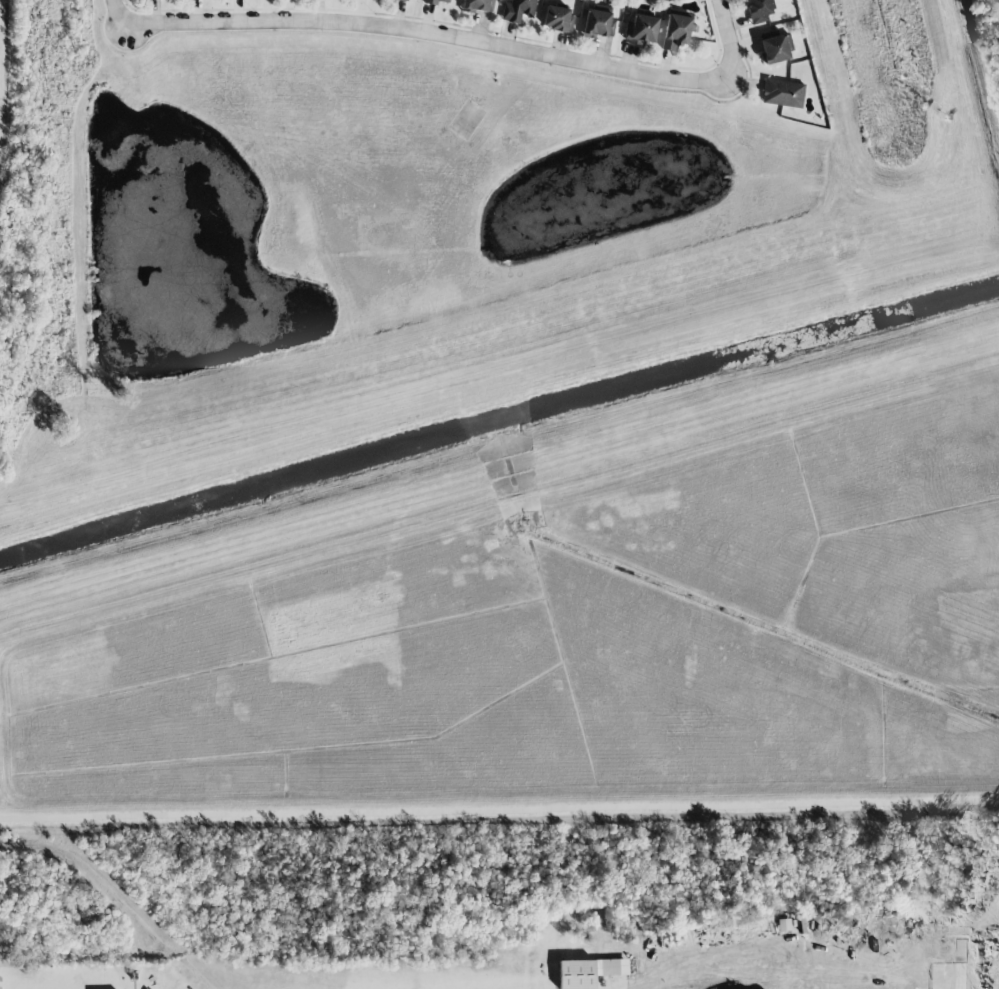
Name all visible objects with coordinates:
building: (404, 0)
building: (438, 2)
building: (478, 5)
building: (517, 10)
building: (758, 11)
road: (115, 12)
building: (557, 19)
building: (598, 24)
building: (641, 30)
building: (676, 31)
road: (465, 38)
building: (774, 49)
building: (782, 93)
building: (588, 972)

